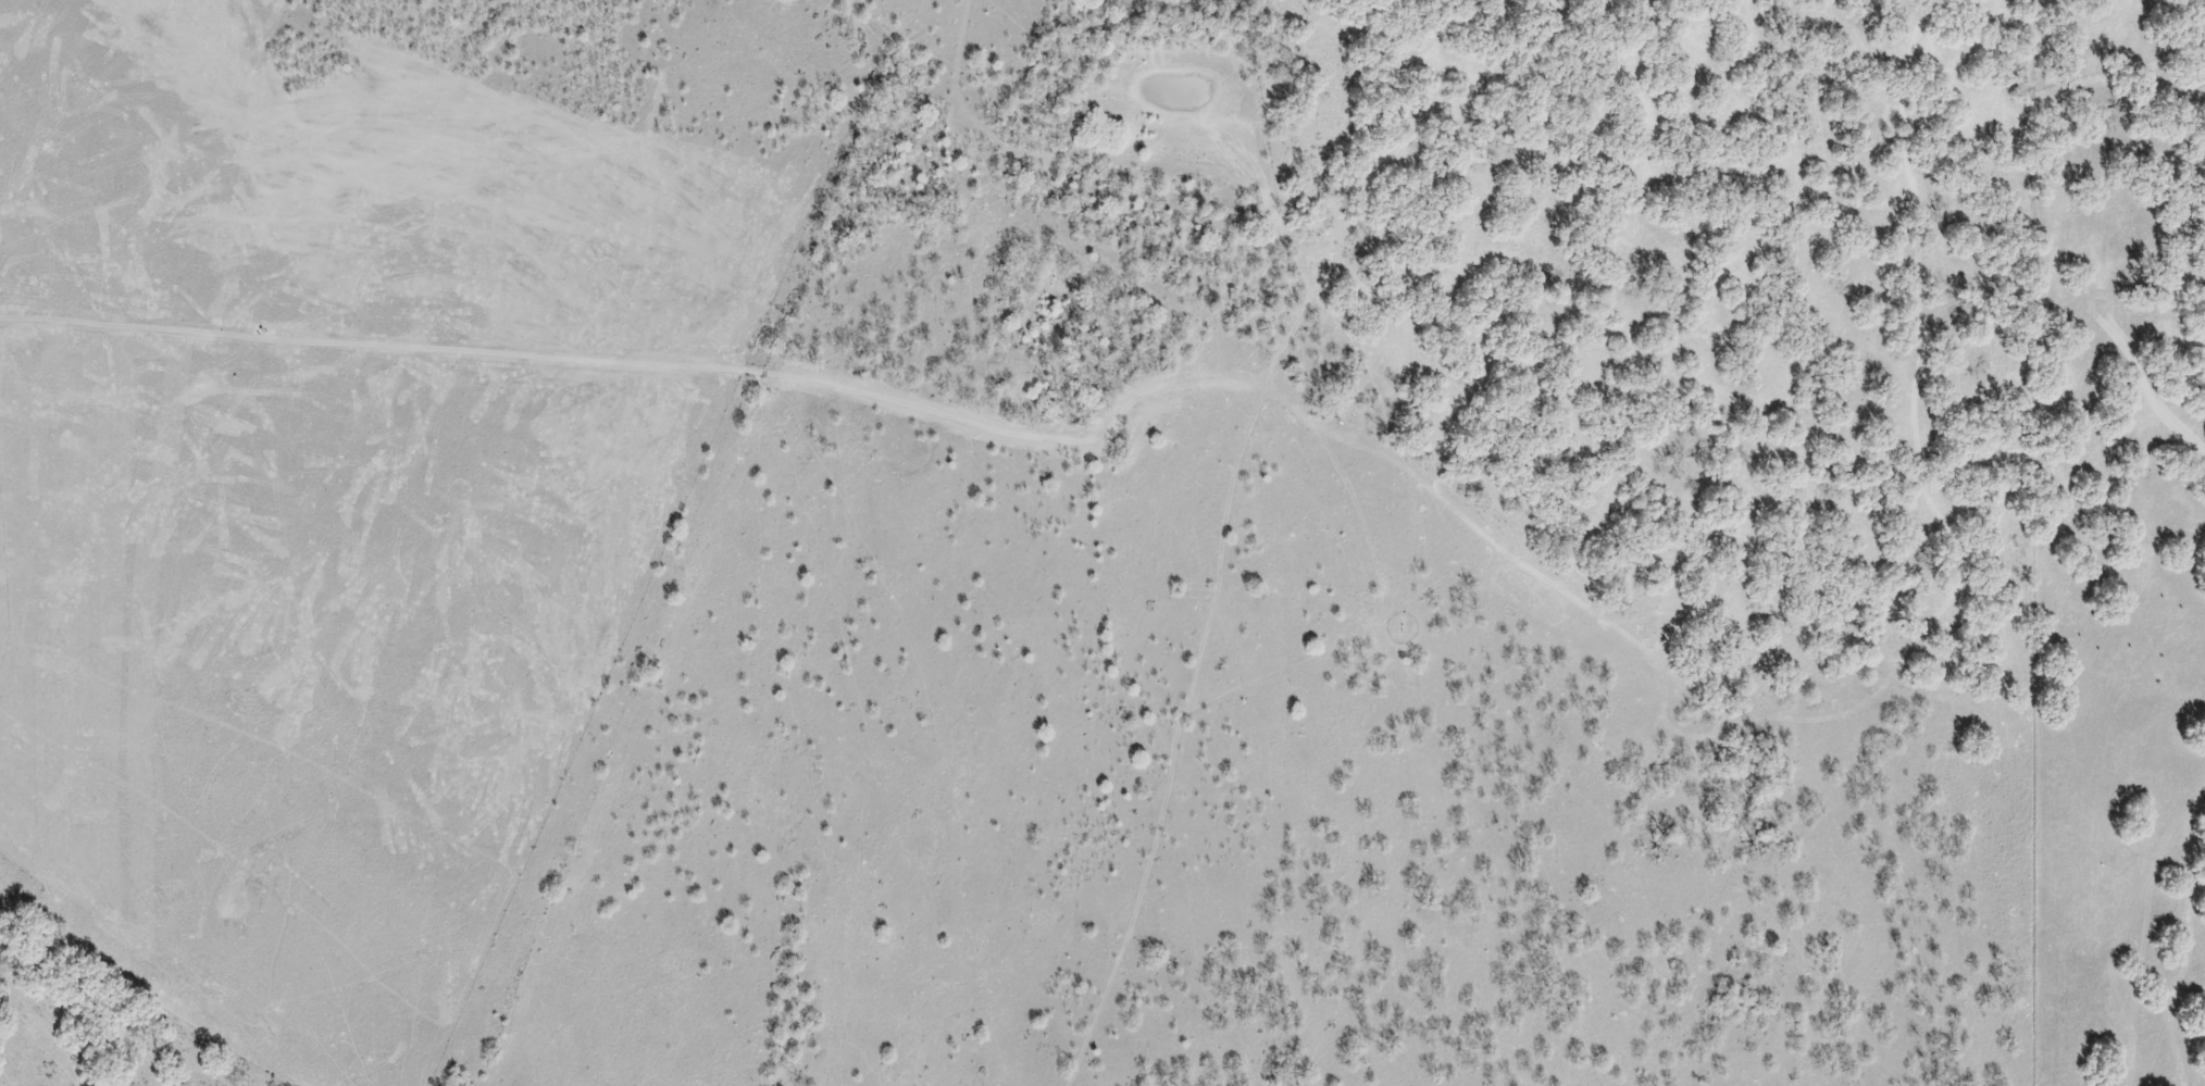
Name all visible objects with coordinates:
road: (512, 346)
road: (2146, 938)

